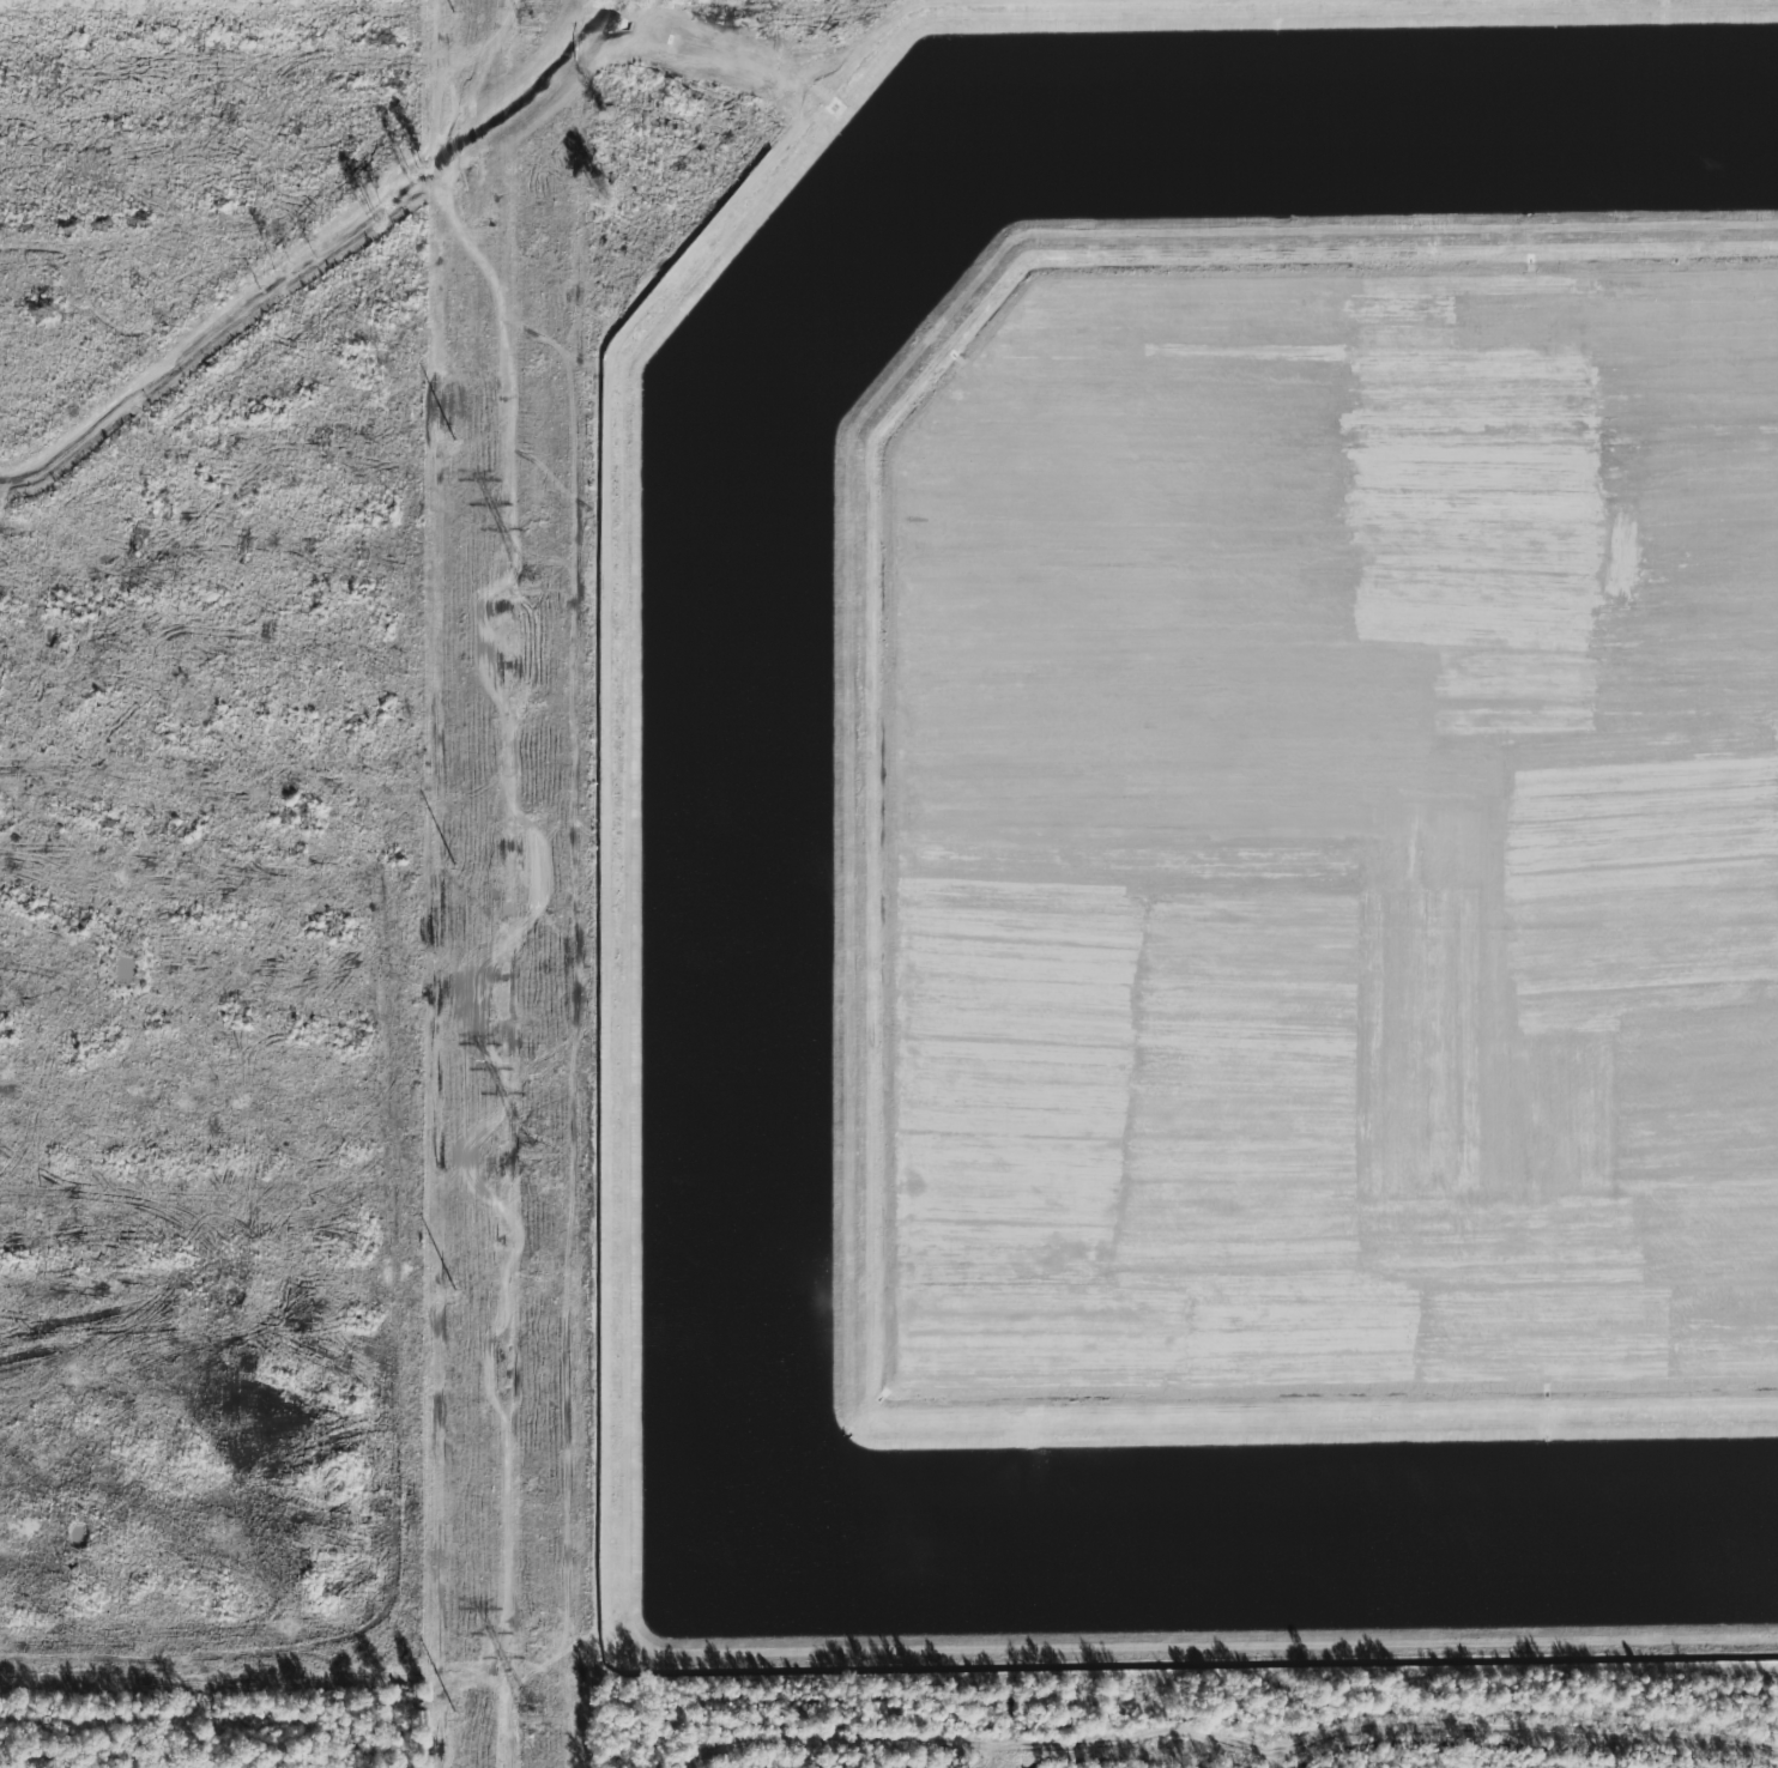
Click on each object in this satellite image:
power tower: (533, 32)
power tower: (532, 597)
power tower: (530, 1160)
power tower: (532, 1720)

